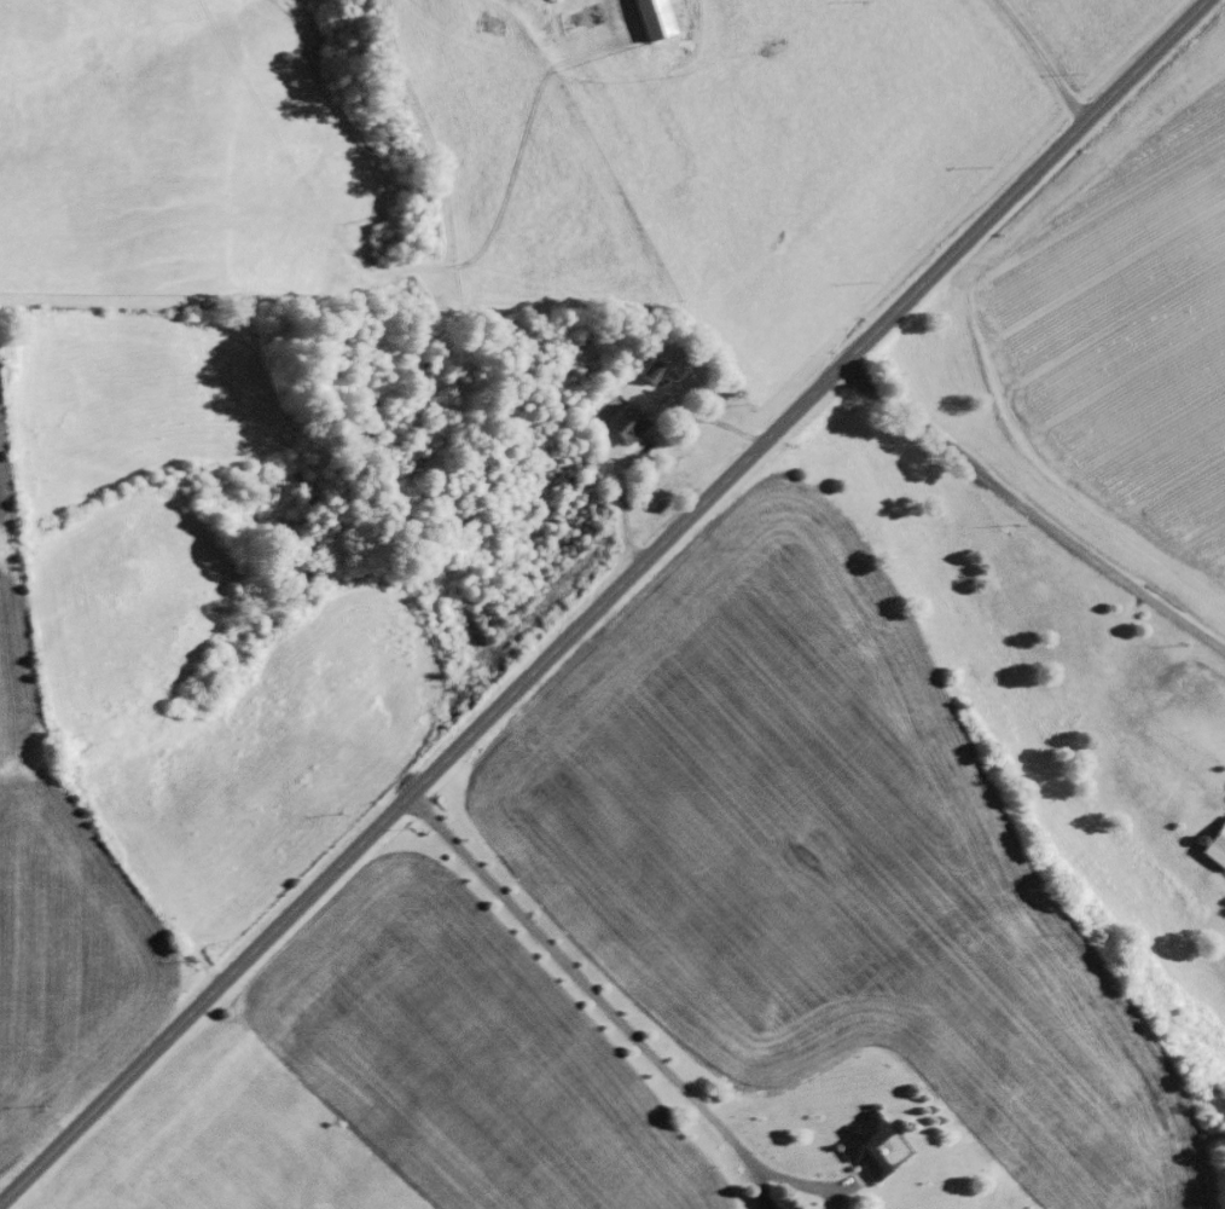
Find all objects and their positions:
building: (651, 19)
road: (1039, 58)
crop: (190, 154)
building: (651, 372)
building: (623, 423)
road: (641, 439)
road: (1028, 513)
road: (602, 601)
crop: (214, 603)
building: (1214, 841)
crop: (63, 868)
road: (593, 997)
building: (861, 1141)
road: (801, 1185)

